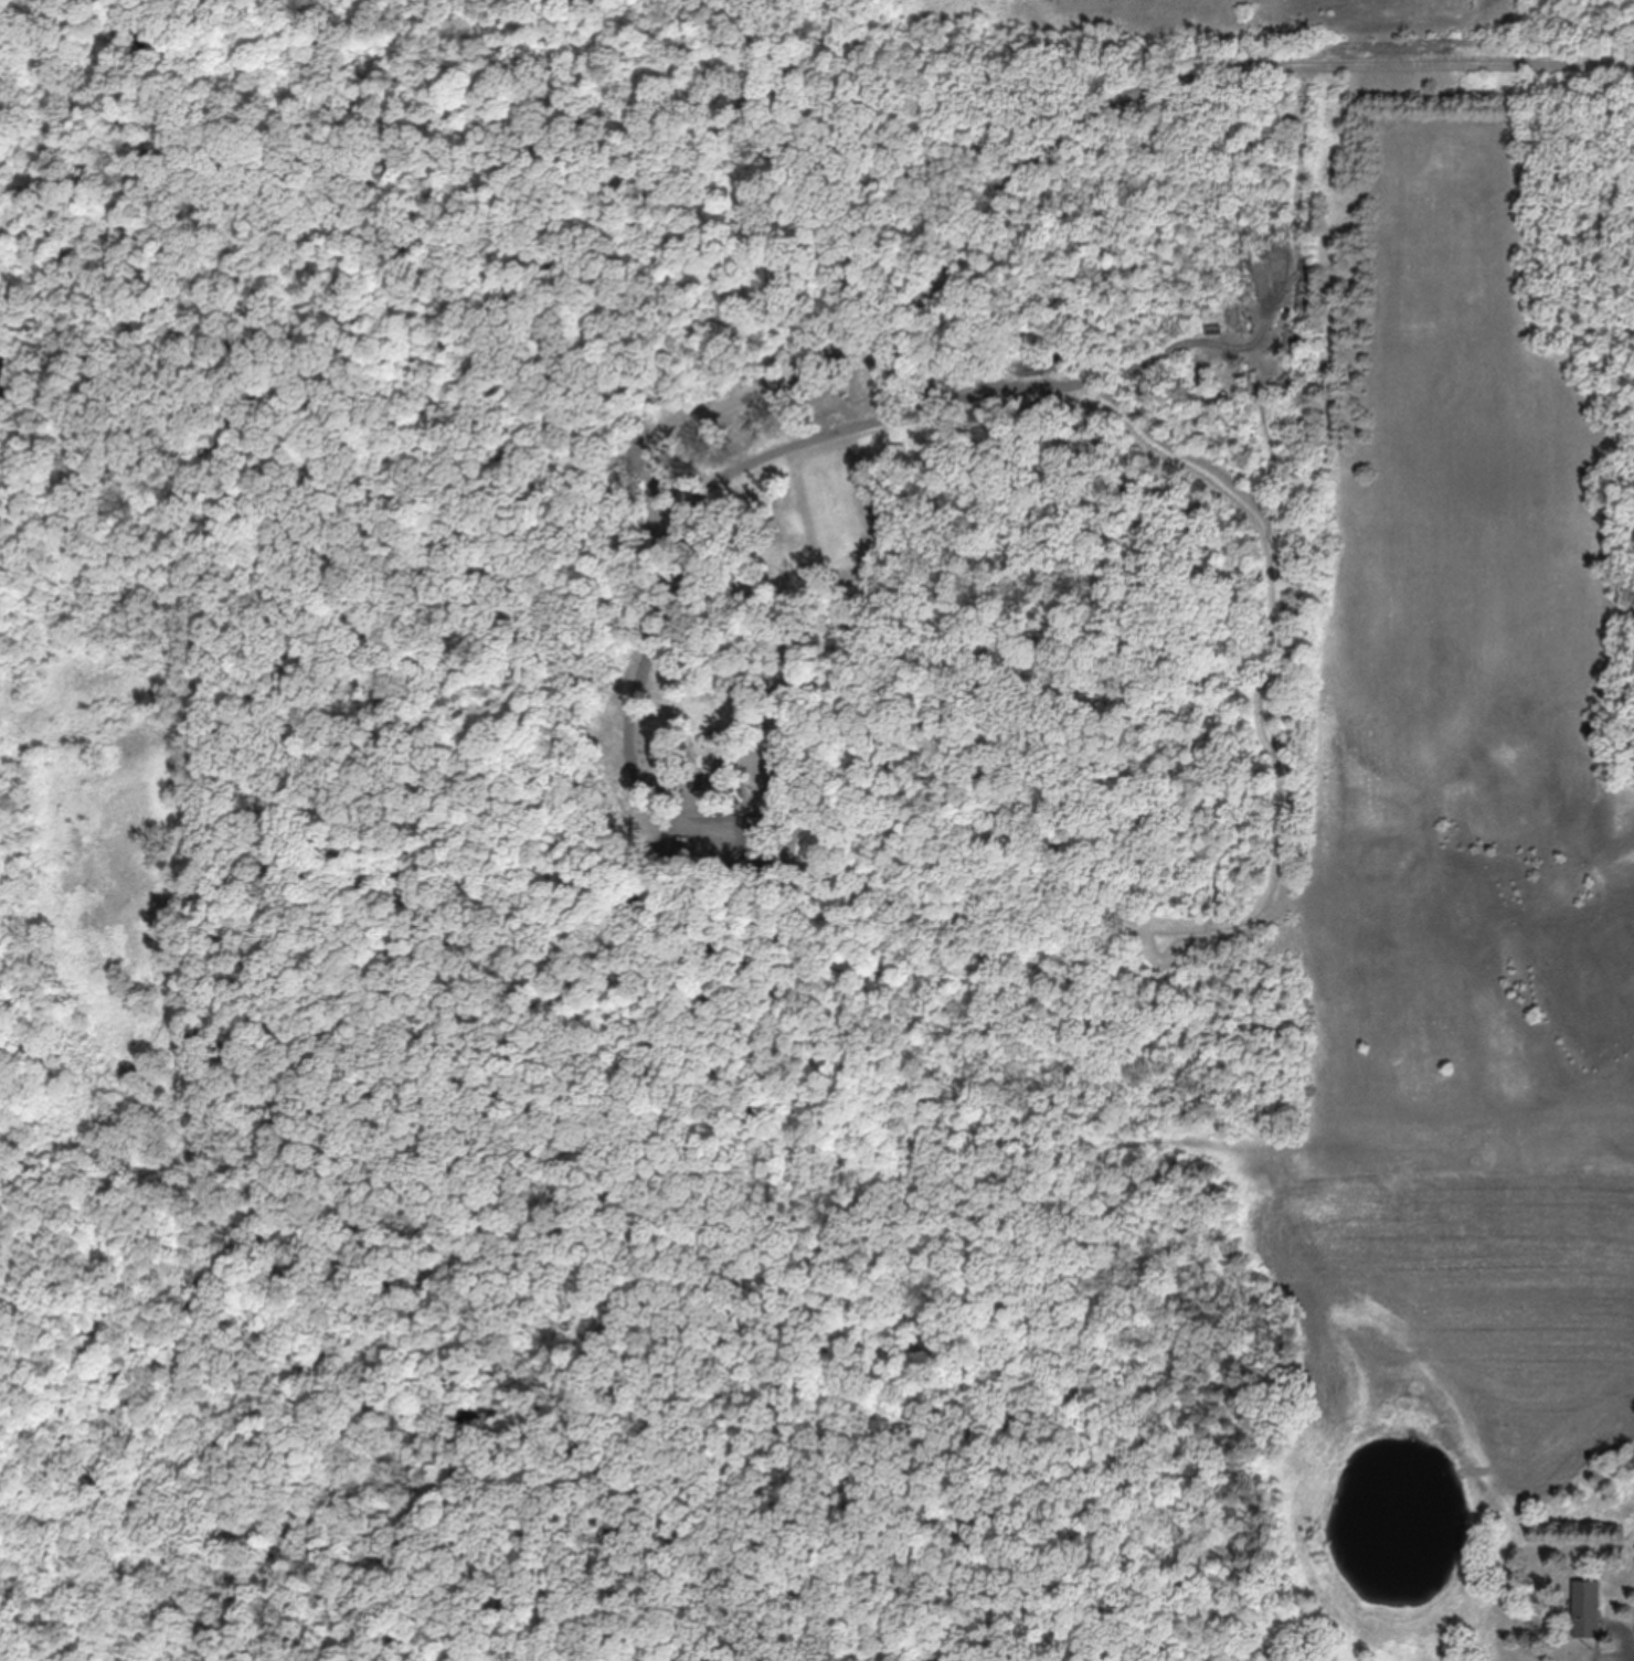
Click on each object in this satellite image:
building: (1588, 1611)

